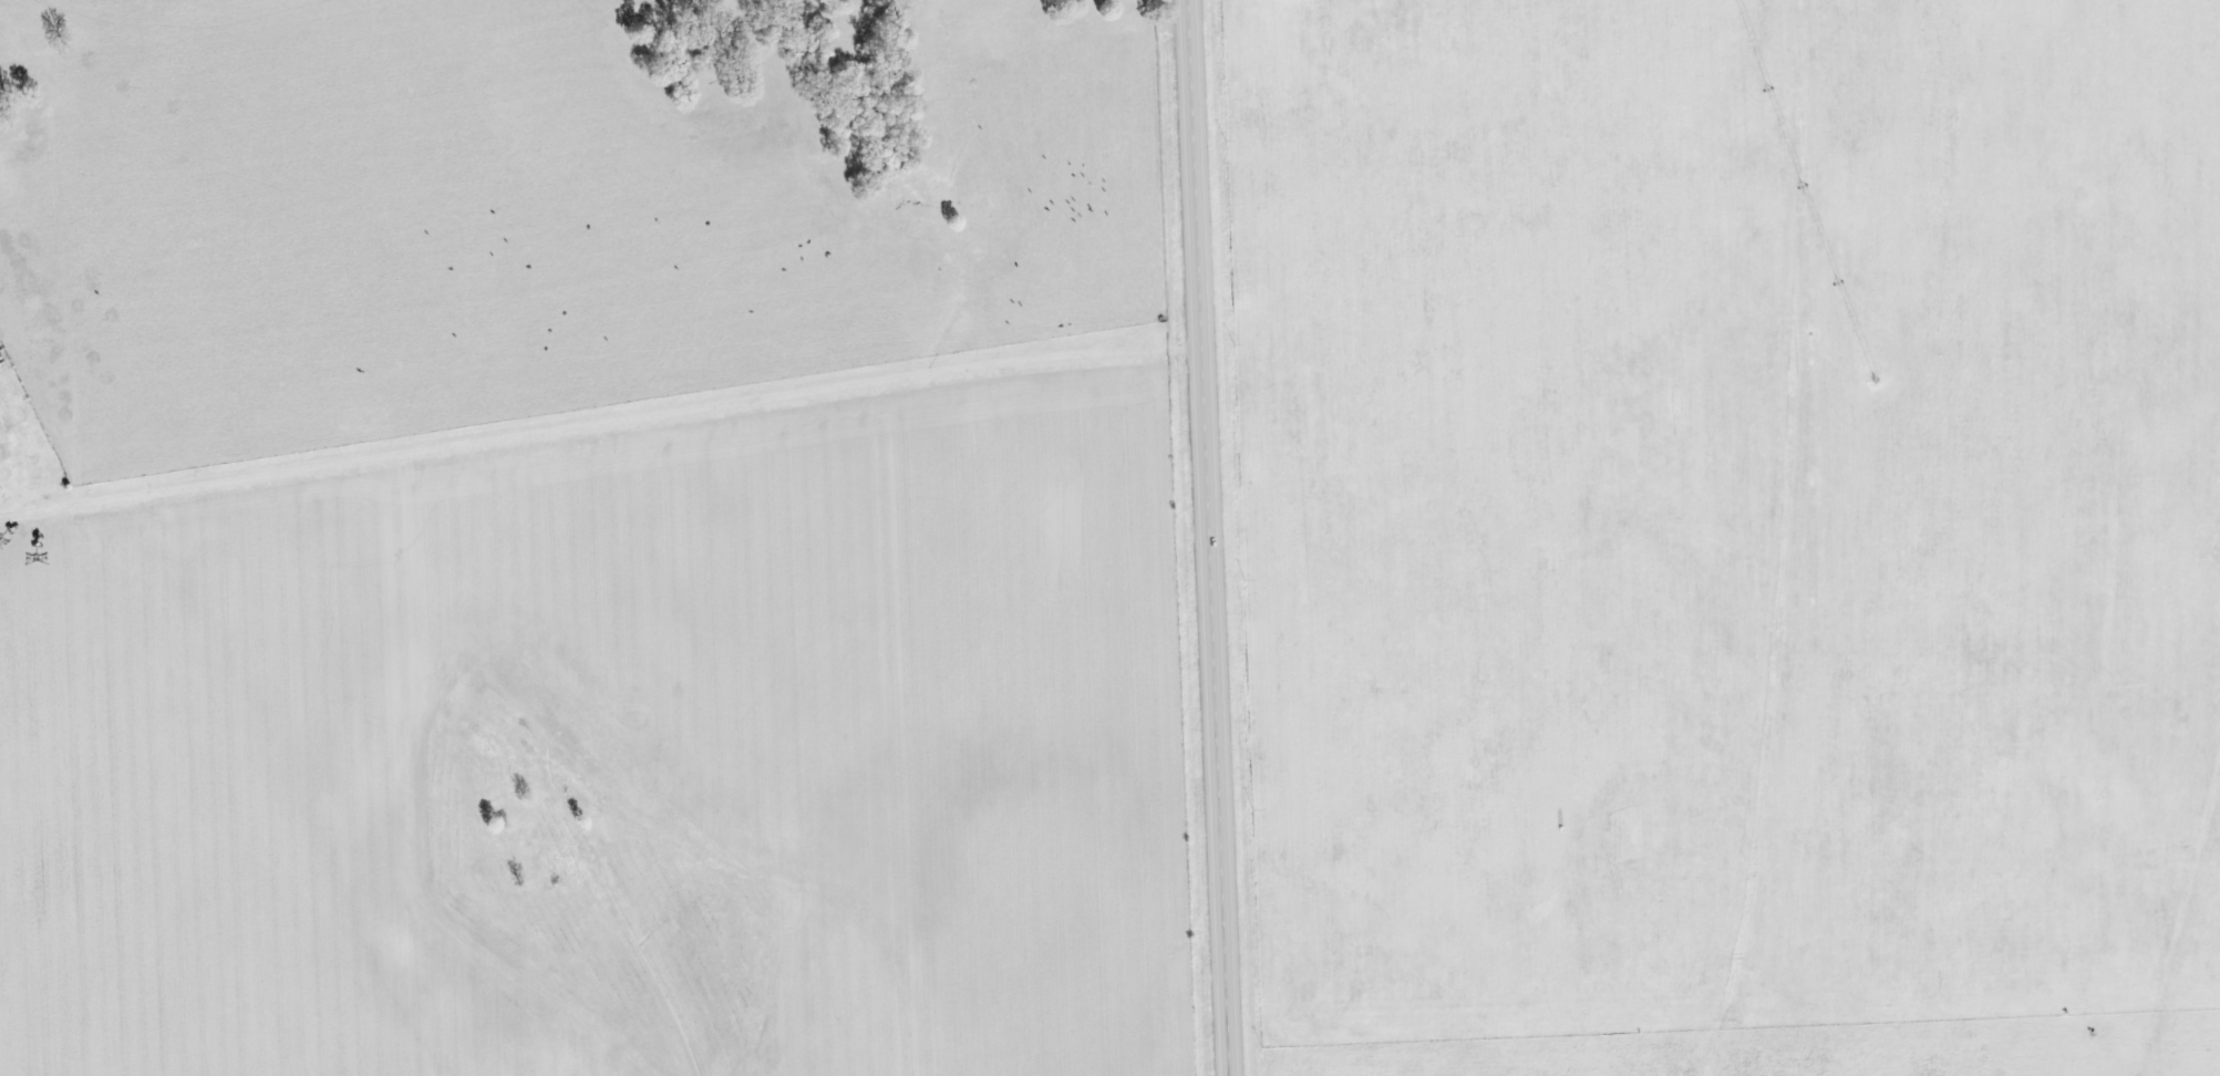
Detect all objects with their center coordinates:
road: (1208, 537)

